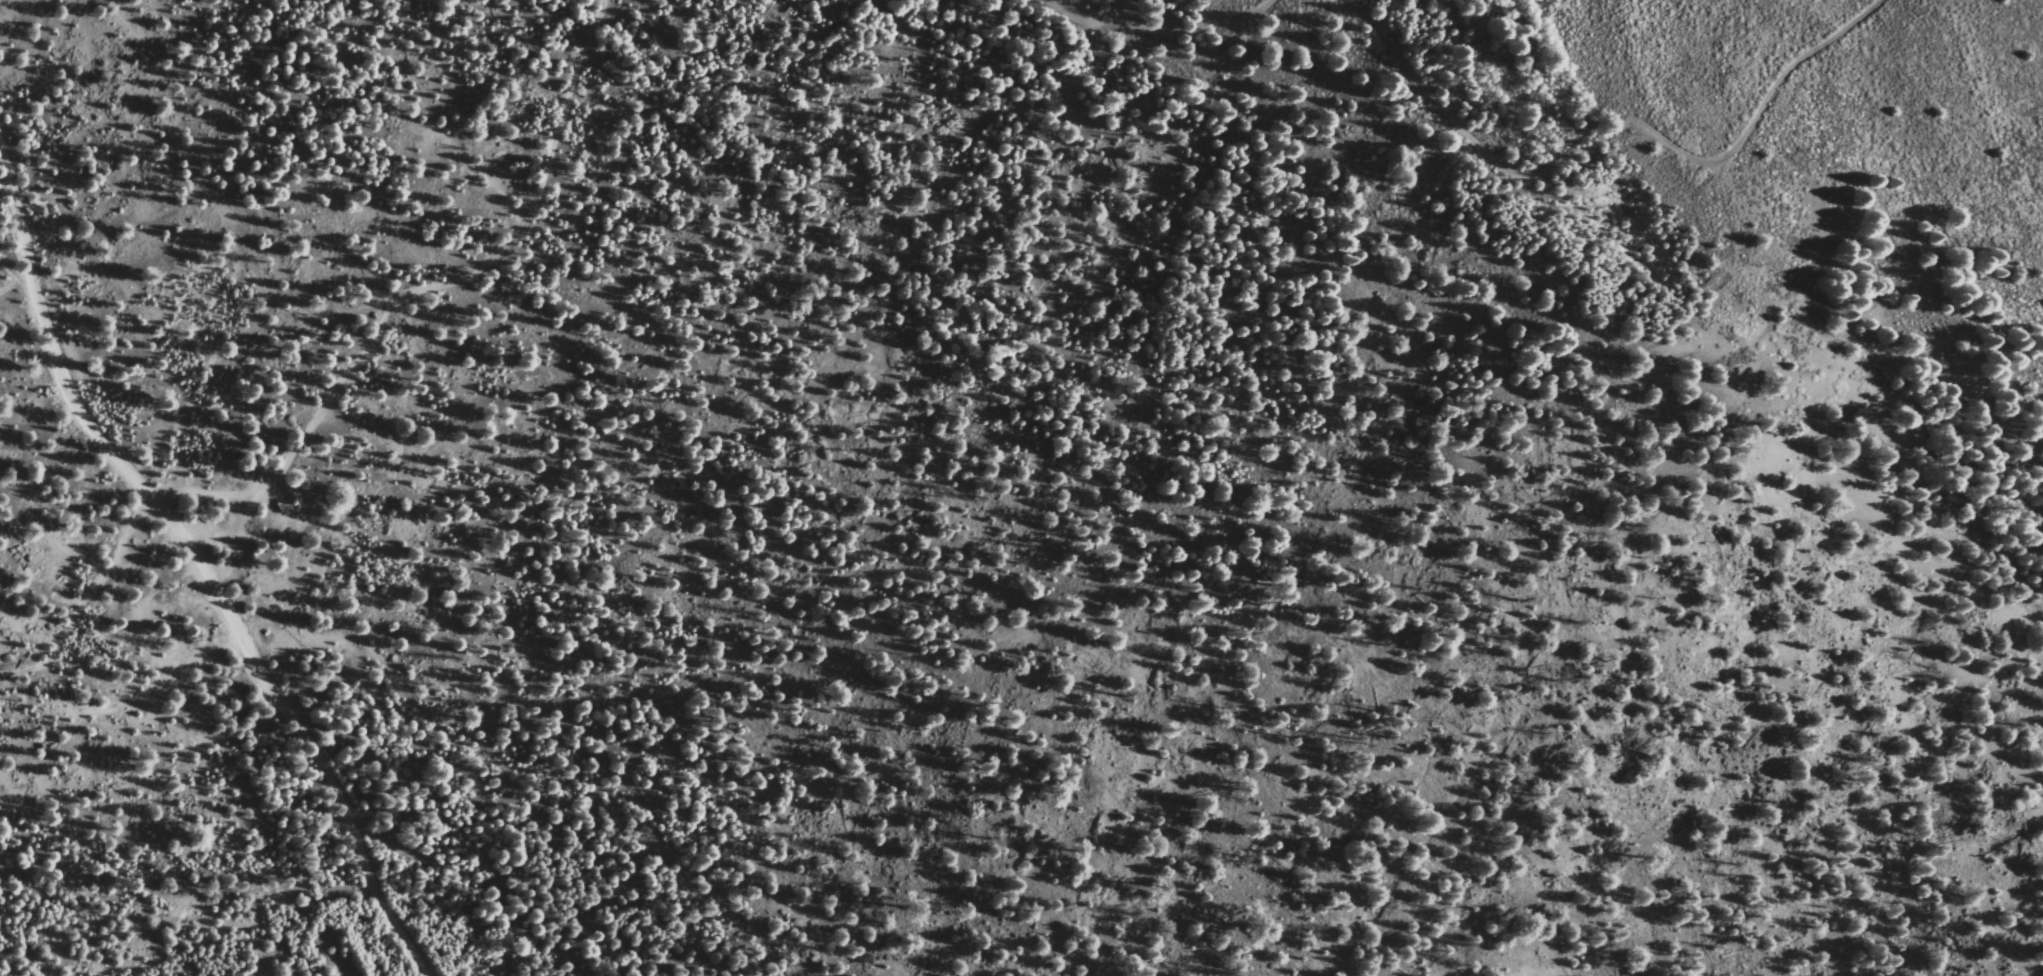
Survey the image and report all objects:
road: (1156, 27)
road: (1611, 134)
road: (16, 282)
road: (422, 290)
road: (202, 564)
road: (85, 598)

